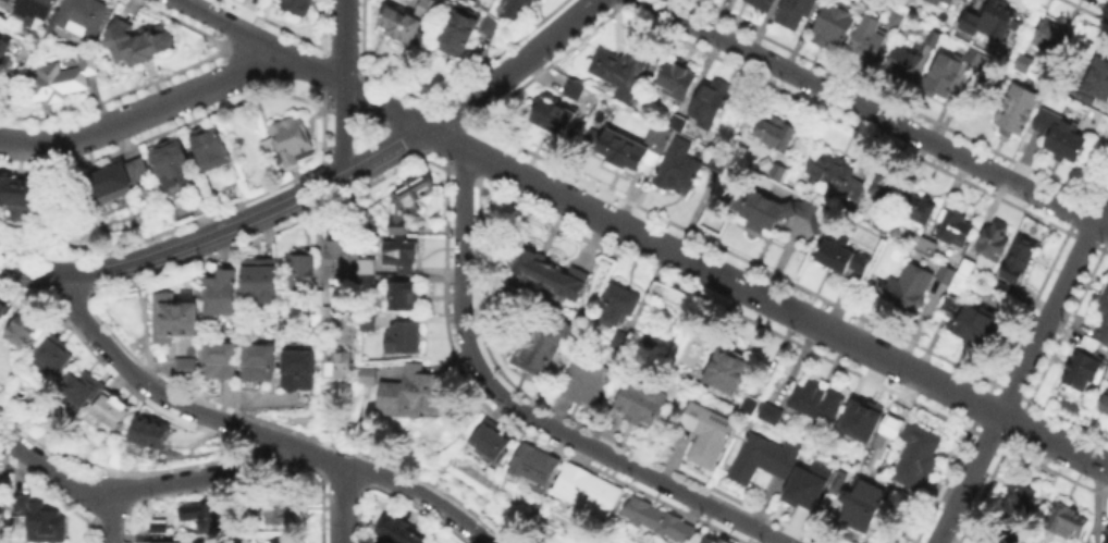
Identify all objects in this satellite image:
building: (9, 1)
building: (946, 2)
building: (764, 3)
building: (296, 7)
building: (518, 8)
building: (428, 9)
building: (796, 12)
building: (34, 16)
building: (988, 18)
building: (84, 20)
building: (897, 20)
building: (3, 21)
building: (834, 25)
building: (399, 26)
building: (467, 29)
building: (1051, 37)
building: (934, 39)
road: (262, 40)
building: (869, 40)
road: (343, 41)
building: (141, 42)
building: (3, 49)
building: (977, 59)
building: (1021, 61)
building: (902, 63)
road: (513, 67)
building: (620, 70)
building: (944, 76)
building: (674, 78)
building: (63, 79)
building: (1097, 83)
building: (575, 91)
building: (710, 103)
building: (1012, 107)
building: (1078, 109)
road: (141, 112)
road: (877, 114)
building: (551, 118)
building: (679, 125)
road: (343, 129)
building: (1057, 132)
building: (776, 133)
building: (657, 137)
building: (291, 145)
road: (383, 151)
building: (212, 152)
building: (628, 155)
building: (766, 162)
building: (716, 168)
building: (173, 170)
building: (678, 172)
building: (775, 174)
building: (835, 178)
building: (121, 181)
building: (16, 188)
building: (410, 201)
building: (902, 202)
building: (776, 211)
building: (881, 229)
building: (955, 230)
road: (207, 236)
building: (995, 240)
building: (925, 249)
building: (403, 256)
building: (839, 257)
building: (341, 259)
building: (368, 264)
building: (1015, 268)
building: (967, 270)
road: (30, 271)
building: (304, 273)
building: (550, 275)
road: (725, 275)
building: (946, 277)
building: (368, 282)
building: (263, 284)
building: (960, 286)
building: (908, 288)
building: (220, 294)
building: (403, 296)
road: (1054, 305)
building: (3, 312)
building: (175, 320)
building: (1103, 320)
building: (617, 321)
building: (369, 322)
building: (977, 325)
building: (23, 329)
building: (537, 337)
building: (404, 338)
building: (1089, 347)
building: (58, 356)
building: (258, 362)
building: (340, 366)
building: (220, 367)
building: (188, 369)
building: (728, 369)
building: (300, 370)
building: (371, 375)
building: (1079, 375)
building: (584, 382)
building: (79, 391)
building: (418, 393)
building: (815, 399)
building: (750, 400)
road: (173, 403)
building: (1105, 404)
building: (640, 405)
building: (767, 410)
building: (112, 411)
road: (525, 414)
building: (860, 415)
building: (887, 427)
building: (707, 433)
building: (152, 437)
building: (491, 443)
building: (918, 457)
building: (761, 458)
building: (118, 459)
building: (535, 467)
road: (968, 478)
building: (835, 480)
building: (805, 482)
road: (139, 486)
building: (589, 491)
road: (419, 493)
building: (1022, 496)
road: (341, 502)
building: (279, 504)
building: (864, 504)
building: (202, 510)
road: (112, 518)
building: (658, 521)
building: (1068, 521)
building: (44, 522)
building: (164, 526)
building: (399, 532)
building: (1106, 533)
building: (287, 540)
building: (713, 540)
building: (727, 541)
building: (163, 542)

